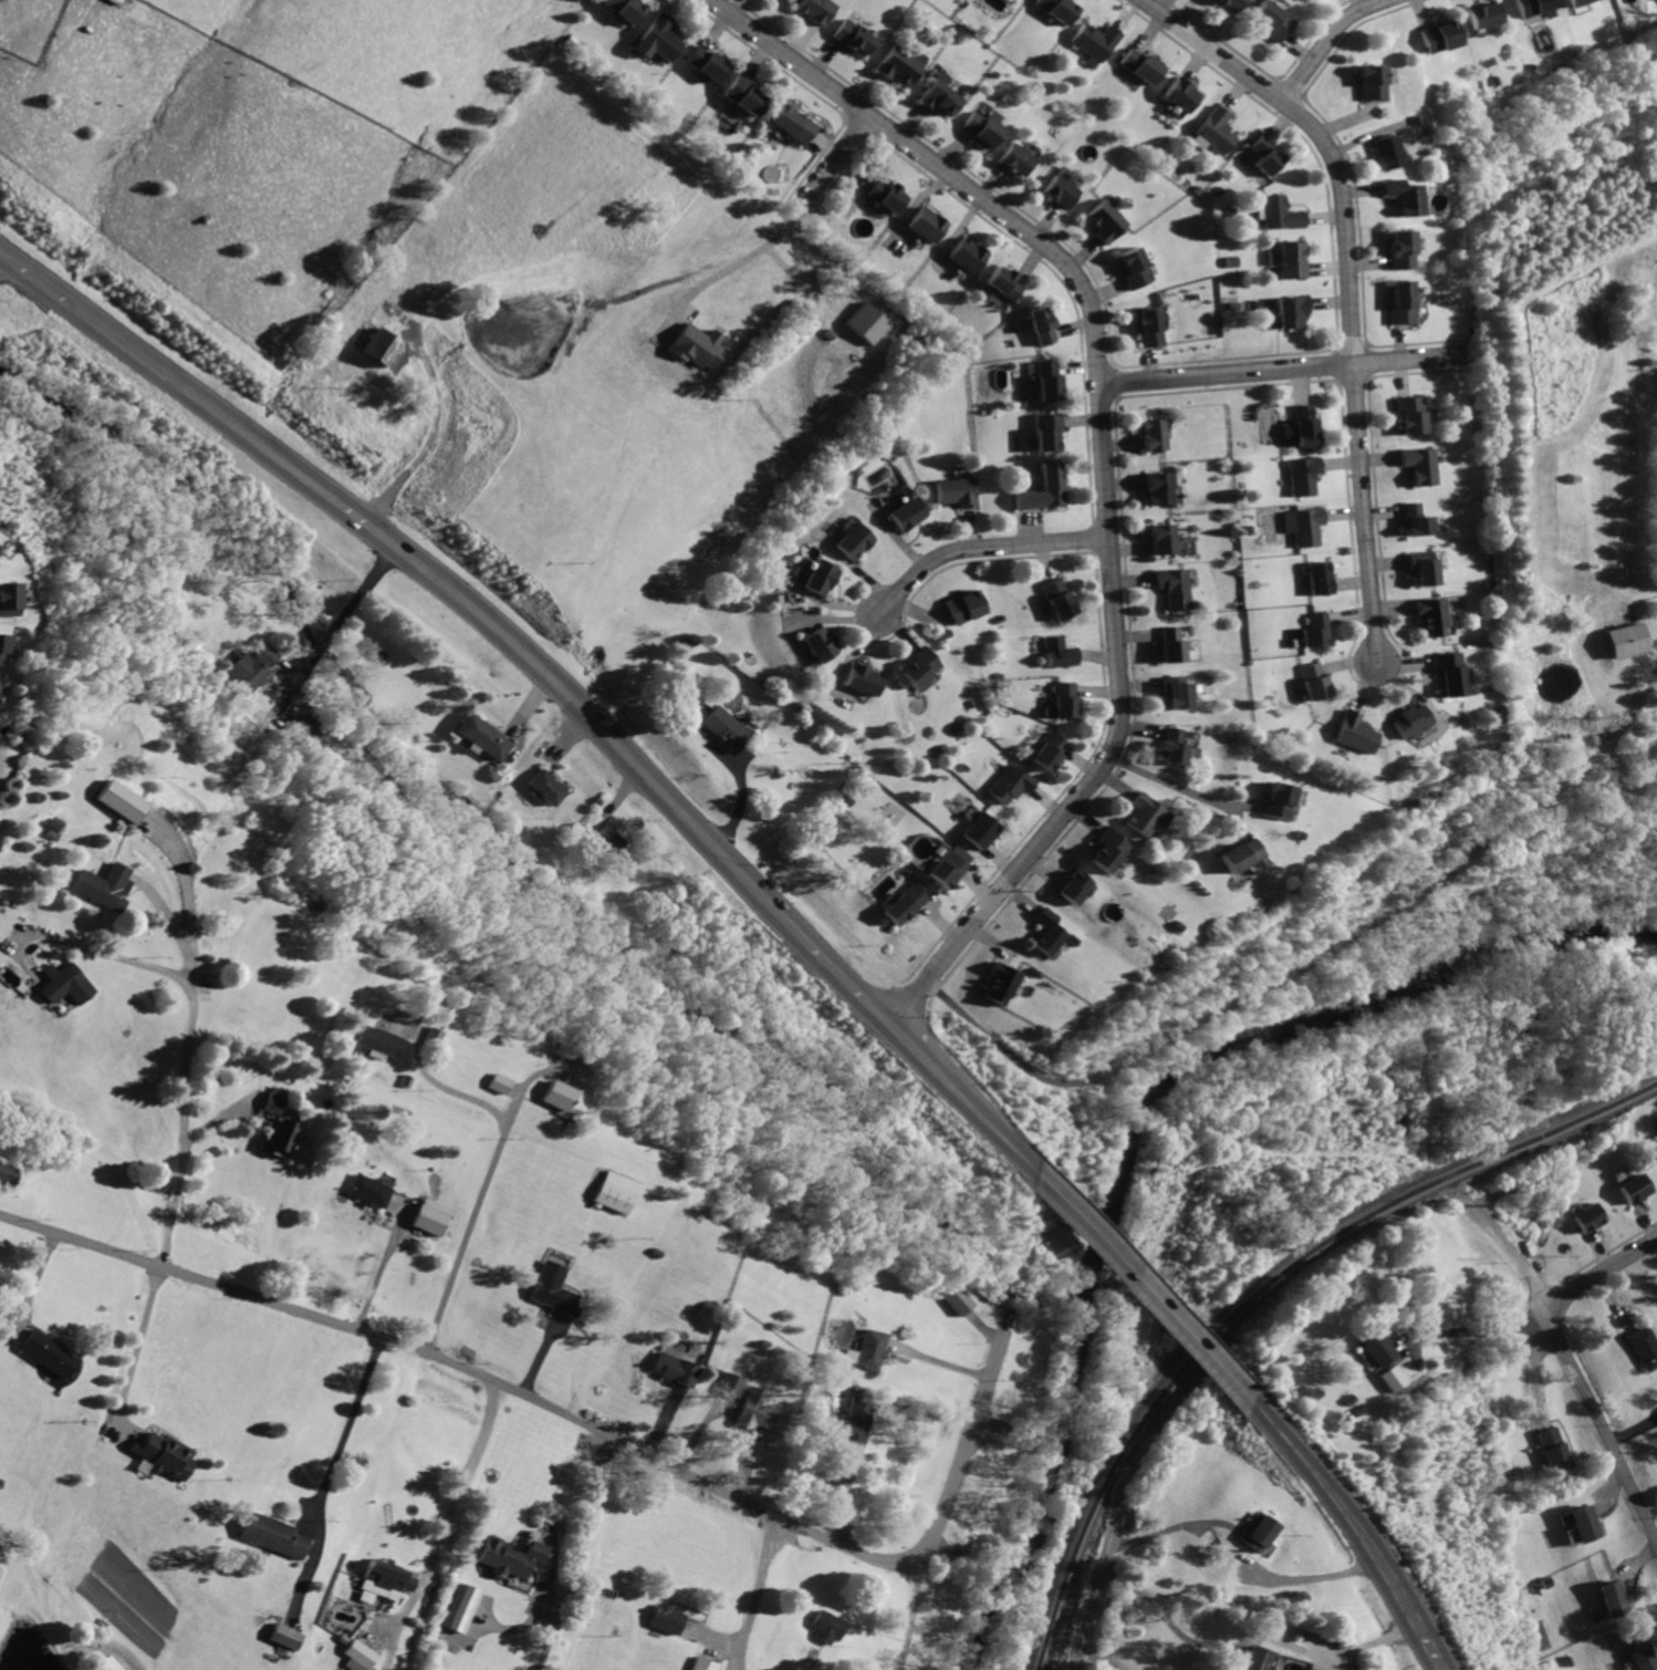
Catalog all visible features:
building: (1223, 2)
building: (1576, 2)
building: (1533, 7)
building: (625, 9)
building: (816, 9)
building: (1056, 9)
building: (1481, 14)
building: (1269, 23)
building: (660, 35)
building: (1436, 37)
building: (854, 38)
road: (1322, 42)
building: (1093, 44)
building: (707, 64)
building: (899, 65)
building: (1139, 66)
building: (1367, 82)
building: (744, 95)
building: (939, 95)
building: (1178, 95)
building: (793, 124)
building: (1212, 128)
building: (982, 131)
building: (1382, 152)
building: (1263, 156)
building: (1017, 159)
road: (830, 164)
building: (1059, 193)
building: (1396, 195)
building: (884, 196)
building: (1276, 215)
building: (1104, 222)
building: (926, 224)
building: (1395, 249)
building: (967, 255)
building: (1288, 261)
road: (729, 266)
building: (1133, 271)
road: (33, 277)
crop: (436, 281)
building: (1001, 283)
road: (1345, 284)
building: (1399, 304)
building: (1286, 312)
building: (867, 322)
building: (1040, 324)
building: (1147, 328)
building: (697, 345)
building: (384, 351)
road: (1281, 370)
building: (1046, 381)
building: (1410, 414)
building: (1302, 426)
building: (1048, 431)
building: (1156, 436)
road: (430, 440)
road: (1105, 464)
building: (1419, 464)
building: (1302, 475)
building: (1159, 488)
building: (1044, 489)
building: (957, 490)
building: (906, 512)
building: (1417, 520)
building: (1307, 526)
building: (1164, 539)
building: (853, 540)
road: (983, 547)
building: (1421, 568)
building: (820, 577)
building: (1319, 578)
building: (1175, 585)
road: (457, 592)
building: (1059, 598)
building: (6, 599)
building: (963, 605)
building: (1430, 614)
road: (343, 619)
building: (1314, 630)
building: (1626, 639)
building: (0, 644)
building: (820, 644)
building: (1174, 644)
building: (1059, 652)
building: (250, 667)
building: (919, 667)
building: (1448, 673)
building: (863, 680)
building: (1313, 681)
building: (1178, 692)
building: (1067, 699)
building: (1409, 720)
building: (725, 725)
building: (308, 732)
building: (1353, 733)
building: (481, 734)
building: (1175, 744)
building: (1051, 750)
road: (1170, 782)
building: (1013, 784)
building: (548, 786)
building: (117, 800)
building: (1278, 800)
road: (1244, 802)
building: (1149, 813)
road: (1237, 822)
building: (982, 829)
building: (607, 837)
building: (1111, 851)
building: (1241, 854)
building: (949, 867)
road: (183, 873)
building: (97, 885)
building: (1077, 888)
building: (908, 902)
road: (167, 917)
building: (1050, 931)
road: (80, 947)
road: (1314, 961)
road: (842, 982)
building: (1000, 984)
building: (67, 985)
building: (427, 1036)
building: (374, 1040)
road: (910, 1052)
building: (493, 1083)
road: (440, 1086)
building: (555, 1096)
building: (274, 1099)
road: (186, 1124)
road: (982, 1127)
building: (281, 1139)
building: (7, 1173)
building: (369, 1190)
building: (1633, 1190)
building: (613, 1193)
road: (477, 1205)
building: (1587, 1217)
building: (430, 1218)
road: (378, 1269)
road: (1598, 1274)
road: (28, 1283)
building: (552, 1289)
road: (1138, 1289)
railway: (1262, 1290)
building: (953, 1300)
road: (1466, 1328)
road: (133, 1344)
building: (1644, 1346)
building: (1373, 1347)
building: (864, 1349)
building: (46, 1352)
building: (845, 1355)
road: (1572, 1365)
building: (671, 1368)
building: (1387, 1377)
road: (1533, 1379)
building: (731, 1384)
building: (753, 1410)
road: (344, 1422)
building: (851, 1422)
road: (592, 1427)
building: (1554, 1448)
building: (163, 1452)
road: (1319, 1474)
road: (457, 1480)
road: (1650, 1512)
building: (1585, 1522)
road: (1170, 1527)
building: (1257, 1531)
building: (270, 1534)
road: (579, 1554)
building: (508, 1557)
road: (1315, 1576)
building: (384, 1577)
road: (1102, 1586)
road: (751, 1591)
building: (1614, 1599)
building: (460, 1608)
road: (1406, 1612)
road: (909, 1615)
building: (664, 1619)
building: (587, 1626)
building: (824, 1626)
building: (284, 1636)
road: (1249, 1637)
building: (357, 1656)
road: (1101, 1658)
building: (1257, 1658)
building: (1645, 1659)
building: (700, 1663)
building: (111, 1664)
building: (763, 1669)
building: (1311, 1669)

